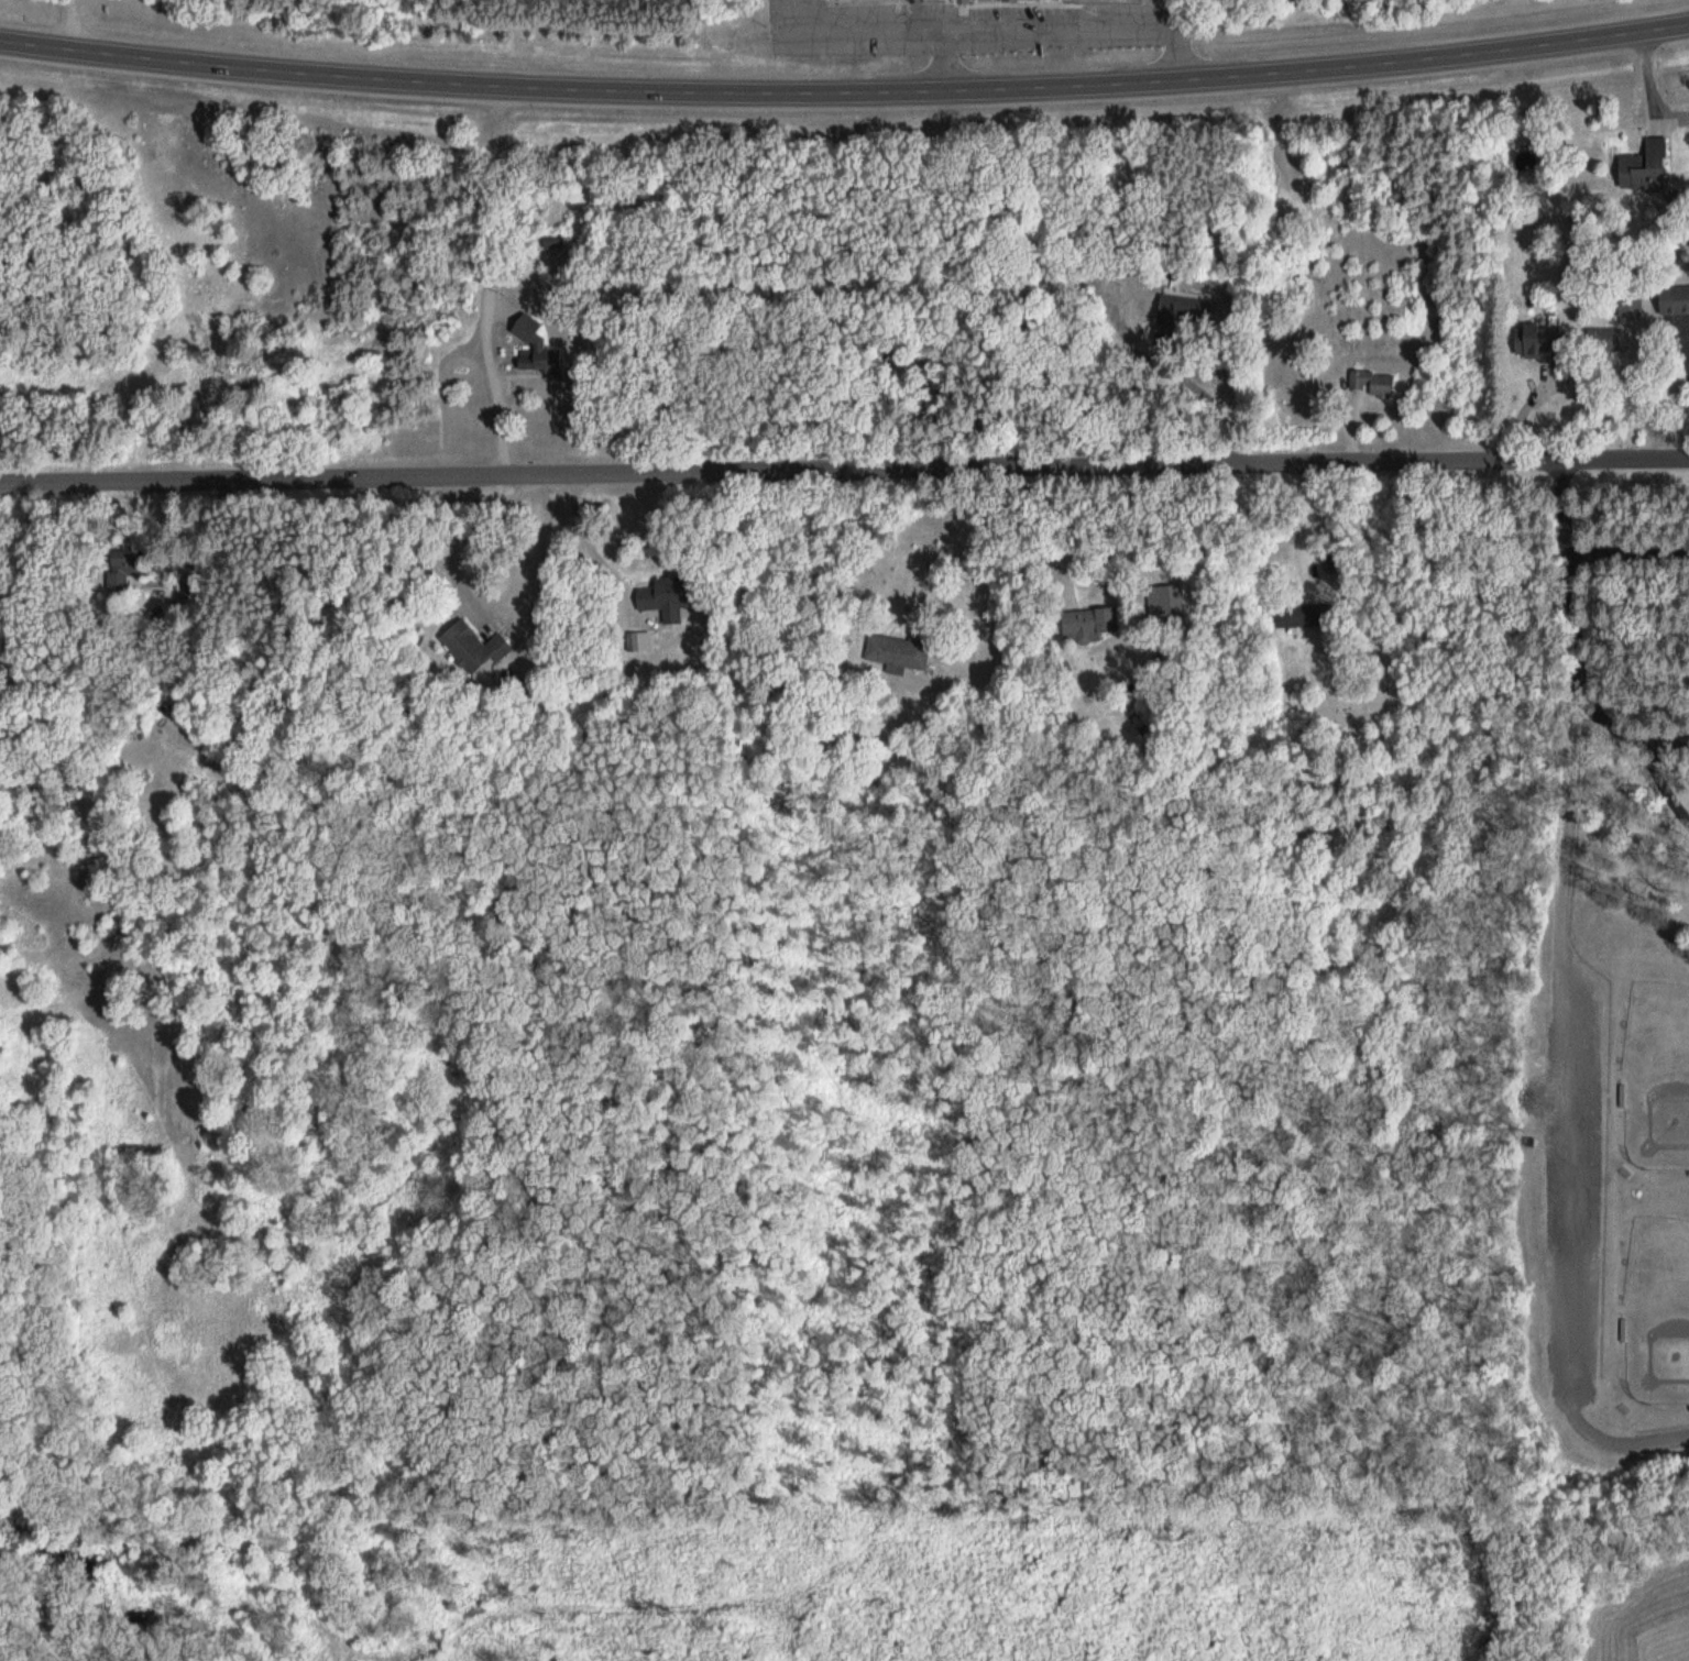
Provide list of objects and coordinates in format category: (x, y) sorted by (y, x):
road: (845, 92)
building: (1650, 167)
building: (1546, 343)
building: (1379, 382)
road: (1590, 454)
road: (746, 470)
building: (129, 568)
road: (1572, 580)
building: (657, 598)
building: (469, 646)
building: (902, 653)
road: (1665, 780)
road: (1577, 983)
park: (1658, 1072)
park: (1594, 1082)
parking lot: (1577, 1179)
park: (1659, 1311)

